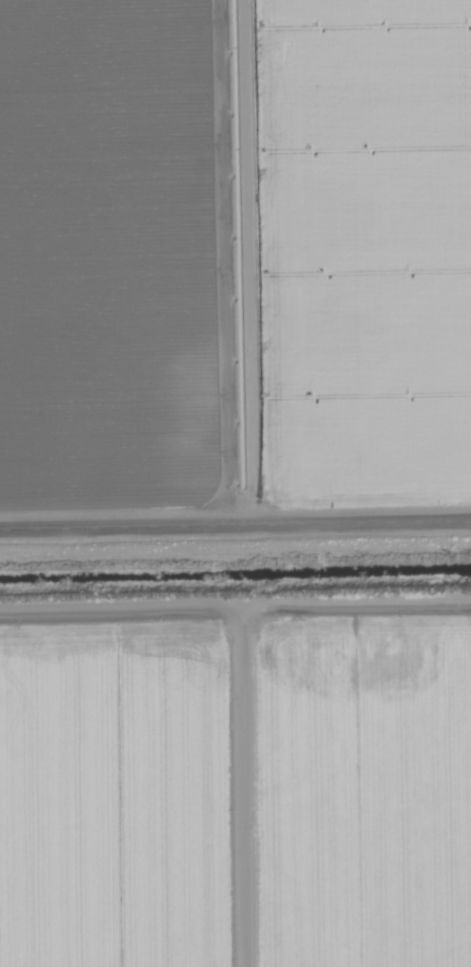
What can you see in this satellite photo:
road: (235, 531)

